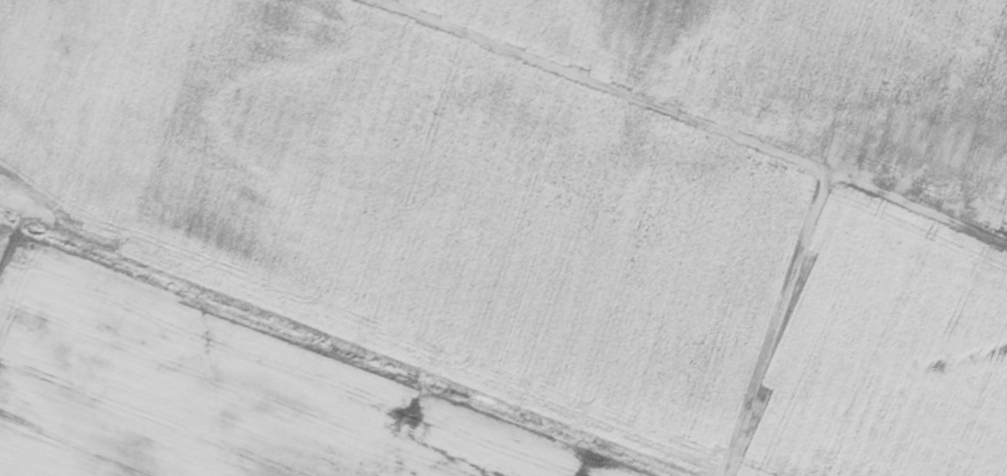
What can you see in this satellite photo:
building: (689, 259)

